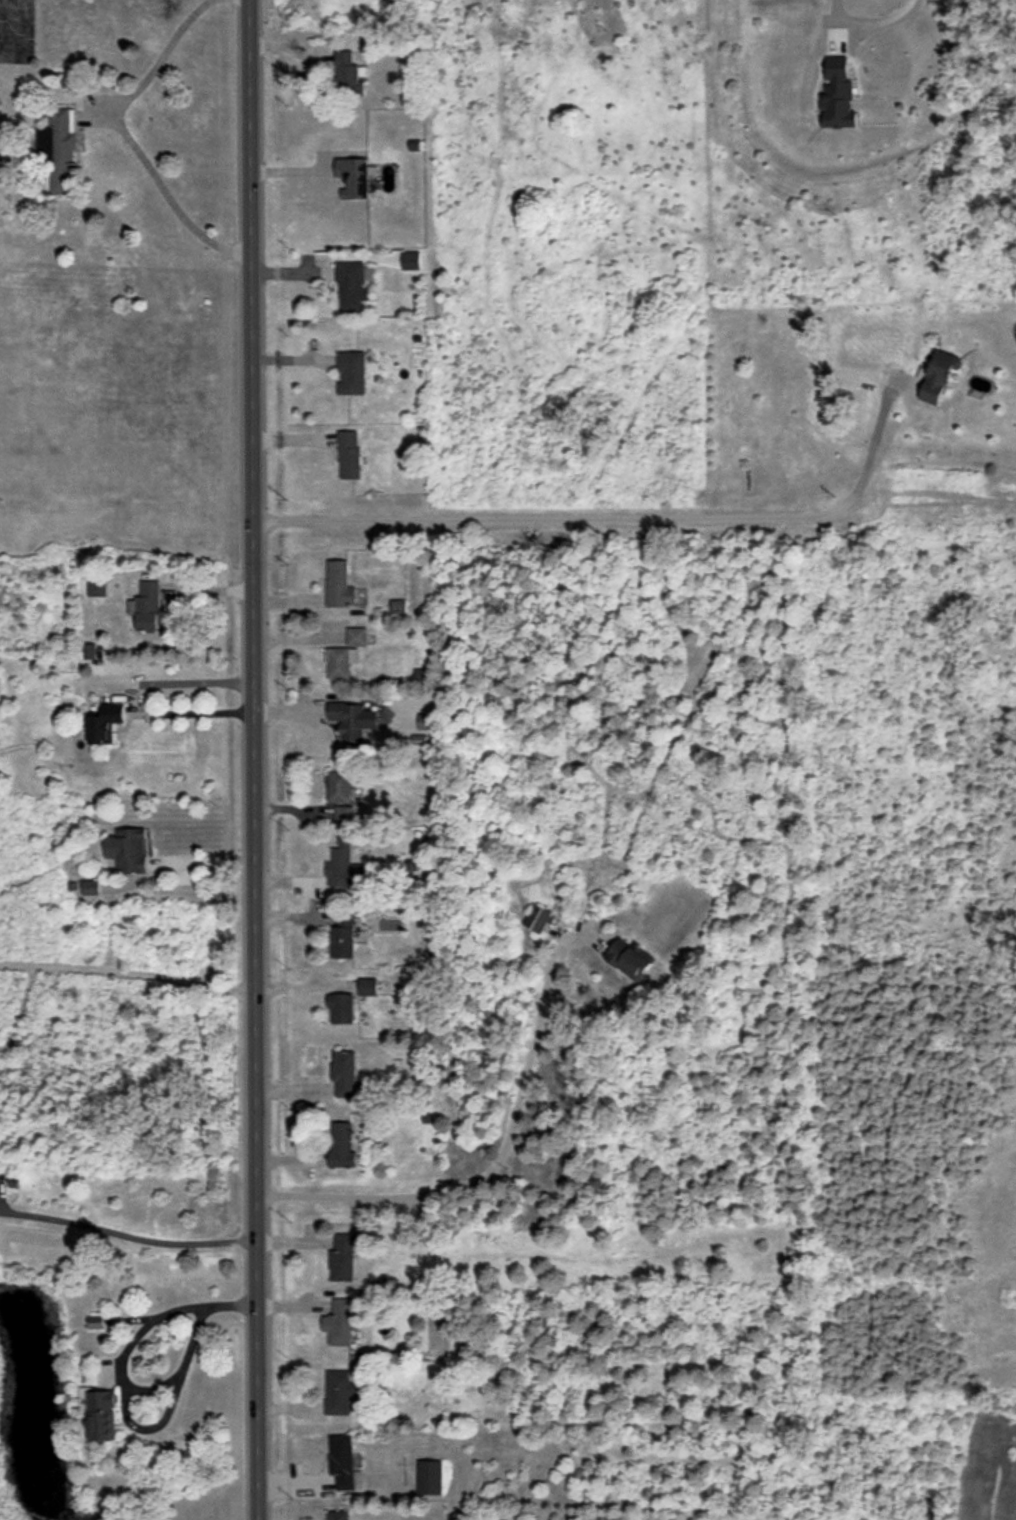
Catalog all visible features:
road: (882, 22)
building: (348, 74)
building: (838, 95)
road: (119, 130)
building: (60, 149)
building: (354, 177)
building: (411, 260)
building: (353, 286)
building: (351, 373)
building: (939, 378)
building: (349, 454)
road: (618, 526)
building: (340, 584)
building: (96, 588)
building: (398, 605)
building: (146, 606)
building: (357, 636)
building: (89, 653)
building: (340, 663)
building: (420, 676)
road: (138, 708)
building: (353, 721)
building: (427, 721)
building: (106, 723)
road: (253, 760)
building: (340, 786)
building: (344, 814)
building: (127, 849)
building: (344, 867)
building: (91, 887)
road: (314, 901)
building: (538, 918)
building: (343, 936)
building: (631, 959)
road: (128, 979)
building: (368, 986)
building: (341, 1007)
building: (345, 1073)
building: (342, 1145)
road: (498, 1170)
road: (127, 1236)
building: (344, 1256)
road: (201, 1316)
building: (96, 1322)
building: (339, 1322)
building: (339, 1392)
building: (100, 1414)
building: (342, 1461)
building: (429, 1477)
building: (337, 1515)

